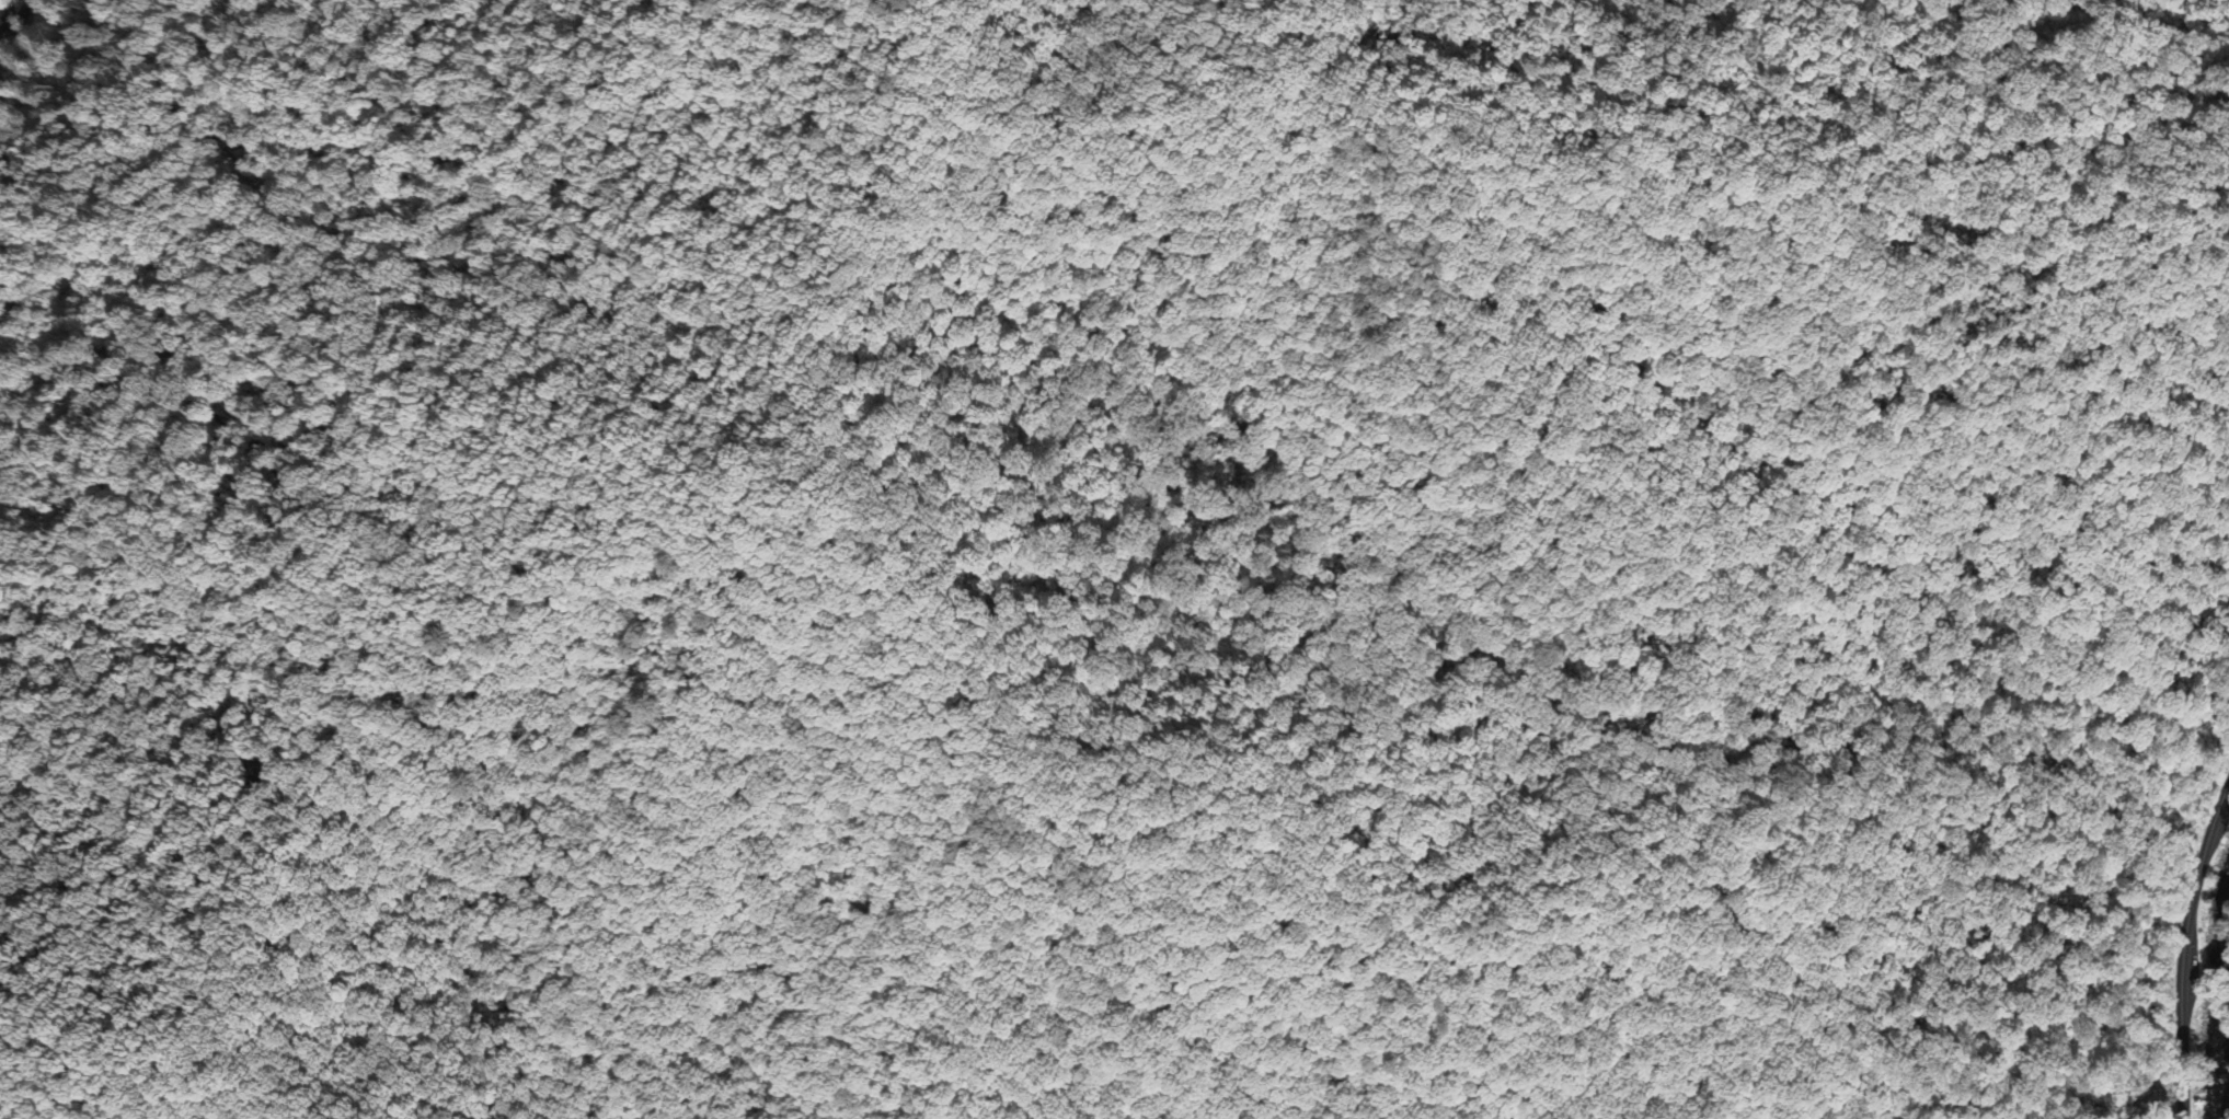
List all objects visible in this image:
road: (2183, 947)
river: (2210, 1005)

